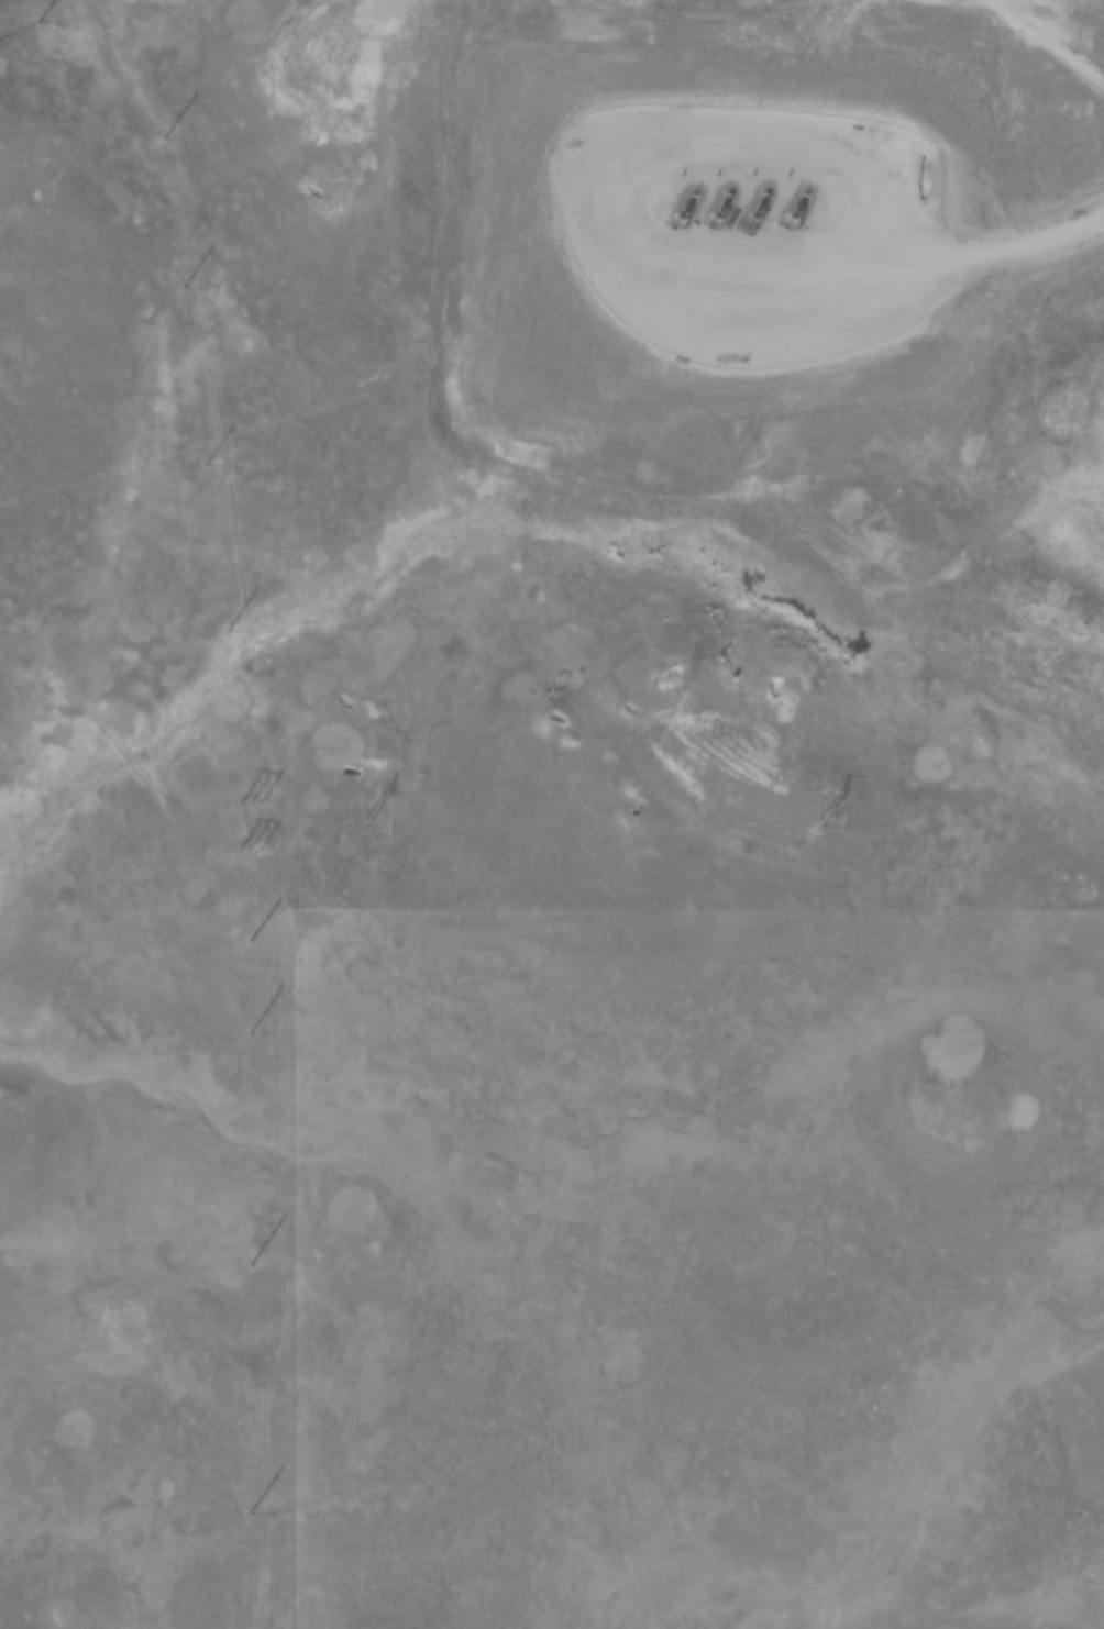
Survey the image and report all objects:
quarry: (819, 140)

